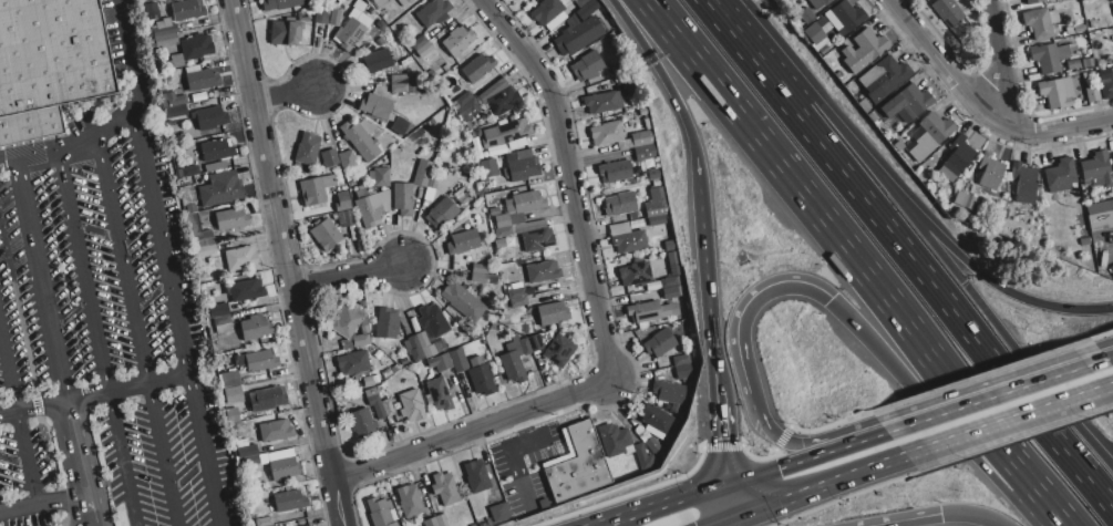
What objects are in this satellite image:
building: (518, 0)
building: (522, 0)
building: (1112, 0)
building: (405, 1)
building: (1033, 1)
building: (581, 2)
building: (278, 3)
building: (378, 3)
building: (820, 3)
building: (359, 6)
building: (587, 9)
building: (187, 10)
building: (151, 11)
building: (546, 11)
building: (433, 12)
building: (948, 12)
building: (805, 14)
building: (321, 16)
building: (333, 17)
building: (844, 17)
building: (360, 18)
building: (1040, 22)
building: (164, 28)
building: (285, 31)
road: (739, 32)
building: (349, 33)
building: (579, 35)
road: (130, 37)
building: (815, 38)
building: (165, 40)
building: (457, 41)
building: (419, 42)
building: (196, 47)
building: (860, 50)
building: (1049, 58)
road: (1003, 59)
building: (176, 61)
building: (374, 62)
building: (1086, 63)
building: (48, 64)
building: (587, 65)
building: (1072, 65)
building: (477, 68)
building: (618, 70)
building: (884, 78)
building: (398, 79)
building: (202, 80)
building: (631, 85)
building: (399, 89)
road: (667, 89)
building: (495, 90)
building: (1106, 90)
road: (140, 91)
building: (1057, 92)
building: (1092, 93)
road: (284, 94)
building: (463, 99)
building: (172, 100)
building: (503, 100)
building: (602, 102)
building: (904, 104)
building: (375, 106)
road: (982, 106)
building: (468, 110)
building: (175, 111)
building: (209, 118)
building: (398, 125)
road: (114, 126)
building: (505, 133)
building: (607, 133)
building: (927, 135)
building: (361, 138)
building: (516, 143)
building: (642, 146)
building: (308, 148)
building: (216, 149)
road: (48, 154)
building: (483, 154)
building: (1112, 155)
building: (329, 158)
building: (956, 158)
building: (348, 161)
building: (489, 162)
building: (522, 169)
building: (1097, 169)
building: (990, 171)
building: (188, 172)
building: (615, 172)
building: (422, 173)
building: (652, 174)
building: (1060, 176)
road: (19, 178)
building: (378, 179)
road: (571, 179)
building: (184, 181)
building: (1024, 183)
building: (219, 189)
building: (316, 189)
building: (187, 195)
building: (401, 196)
building: (963, 200)
building: (342, 202)
building: (619, 204)
building: (656, 204)
building: (523, 205)
building: (1099, 206)
building: (190, 208)
building: (1079, 210)
building: (494, 212)
building: (364, 213)
building: (962, 213)
building: (441, 214)
building: (633, 216)
building: (344, 217)
building: (230, 218)
road: (921, 219)
building: (656, 220)
building: (502, 221)
building: (192, 223)
building: (519, 228)
building: (324, 234)
building: (537, 238)
building: (626, 238)
building: (200, 239)
road: (280, 240)
building: (466, 240)
road: (841, 243)
building: (499, 244)
building: (669, 246)
building: (205, 250)
building: (239, 258)
building: (672, 258)
building: (478, 268)
building: (1112, 269)
building: (543, 271)
building: (636, 272)
road: (40, 277)
road: (347, 278)
building: (477, 278)
parking lot: (97, 279)
building: (491, 279)
road: (711, 279)
building: (671, 281)
building: (245, 289)
road: (936, 290)
building: (516, 292)
building: (670, 292)
building: (518, 301)
building: (464, 302)
road: (982, 306)
building: (218, 310)
building: (648, 311)
building: (552, 313)
road: (176, 317)
road: (748, 318)
building: (221, 320)
building: (432, 320)
building: (346, 322)
building: (387, 324)
building: (255, 327)
building: (223, 329)
building: (364, 329)
road: (136, 334)
road: (100, 338)
building: (360, 340)
building: (535, 342)
building: (660, 342)
building: (430, 345)
building: (525, 345)
building: (414, 349)
building: (559, 351)
road: (1109, 358)
building: (458, 360)
building: (681, 360)
building: (260, 361)
building: (442, 362)
building: (352, 363)
building: (512, 367)
building: (682, 371)
building: (481, 375)
road: (63, 379)
building: (229, 379)
building: (371, 392)
building: (669, 392)
road: (934, 393)
road: (94, 394)
building: (233, 394)
building: (439, 394)
road: (997, 396)
building: (267, 399)
building: (412, 404)
building: (375, 405)
building: (387, 408)
building: (233, 414)
road: (18, 416)
building: (656, 417)
road: (1007, 419)
building: (362, 423)
road: (721, 430)
building: (275, 432)
road: (470, 432)
traffic signals: (722, 437)
road: (875, 437)
building: (615, 439)
road: (806, 442)
building: (653, 445)
road: (76, 446)
building: (246, 451)
building: (643, 457)
building: (250, 461)
road: (794, 463)
building: (578, 466)
building: (285, 467)
traffic signals: (780, 468)
building: (476, 476)
road: (820, 484)
building: (444, 488)
building: (548, 498)
road: (732, 499)
building: (289, 501)
building: (409, 501)
road: (42, 502)
building: (539, 502)
road: (336, 504)
building: (528, 506)
road: (669, 506)
road: (1053, 507)
road: (89, 509)
building: (379, 512)
building: (499, 513)
road: (970, 515)
road: (722, 519)
road: (905, 519)
building: (441, 520)
building: (264, 522)
building: (432, 522)
building: (392, 524)
building: (309, 525)

